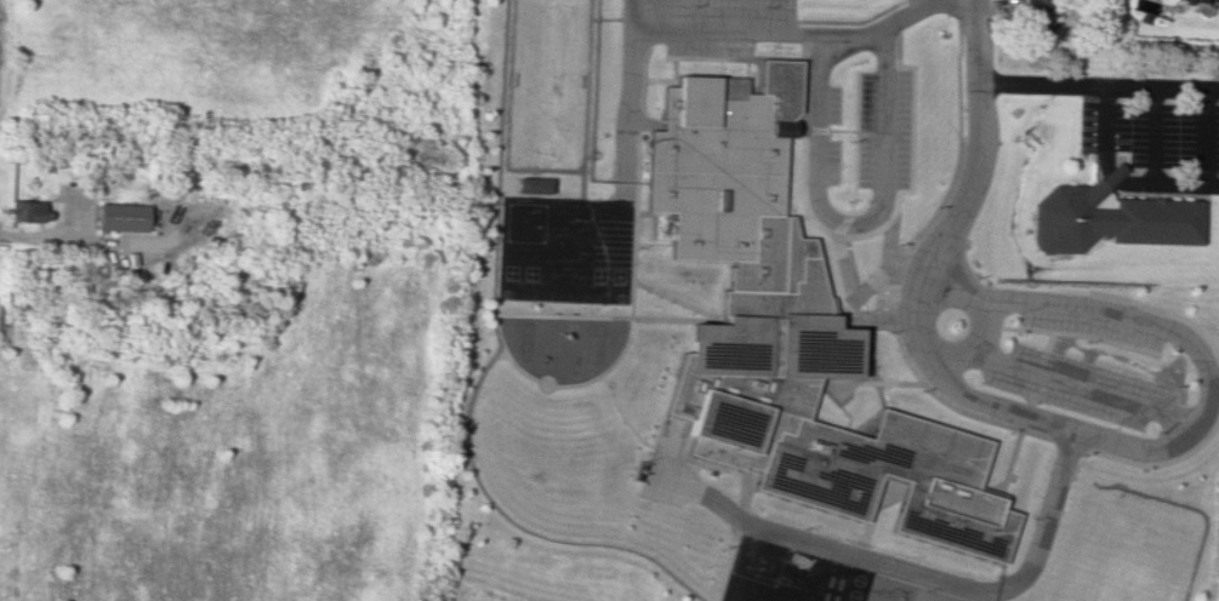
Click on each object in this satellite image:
building: (1212, 0)
building: (1196, 1)
parking lot: (710, 11)
building: (1033, 15)
road: (887, 23)
road: (710, 35)
road: (851, 36)
parking lot: (706, 48)
road: (976, 57)
road: (733, 58)
road: (672, 67)
road: (745, 76)
road: (642, 78)
road: (656, 79)
road: (1098, 84)
parking lot: (830, 103)
road: (627, 114)
parking lot: (882, 128)
road: (839, 130)
parking lot: (1151, 132)
road: (1152, 133)
road: (1203, 136)
road: (854, 144)
parking lot: (830, 161)
road: (1118, 179)
building: (532, 184)
road: (785, 187)
road: (944, 191)
building: (25, 211)
building: (124, 217)
road: (801, 217)
building: (1107, 218)
road: (834, 219)
road: (875, 230)
road: (885, 241)
road: (843, 265)
road: (882, 290)
road: (676, 299)
road: (1163, 313)
road: (606, 316)
road: (973, 328)
parking lot: (1089, 328)
building: (784, 331)
road: (1076, 333)
road: (1046, 340)
road: (627, 342)
road: (1058, 379)
road: (866, 382)
parking lot: (1076, 385)
road: (930, 391)
road: (1027, 400)
road: (1111, 443)
road: (1010, 456)
road: (1154, 462)
road: (747, 487)
road: (876, 513)
road: (522, 526)
road: (808, 540)
road: (1042, 540)
park: (1132, 550)
road: (730, 566)

